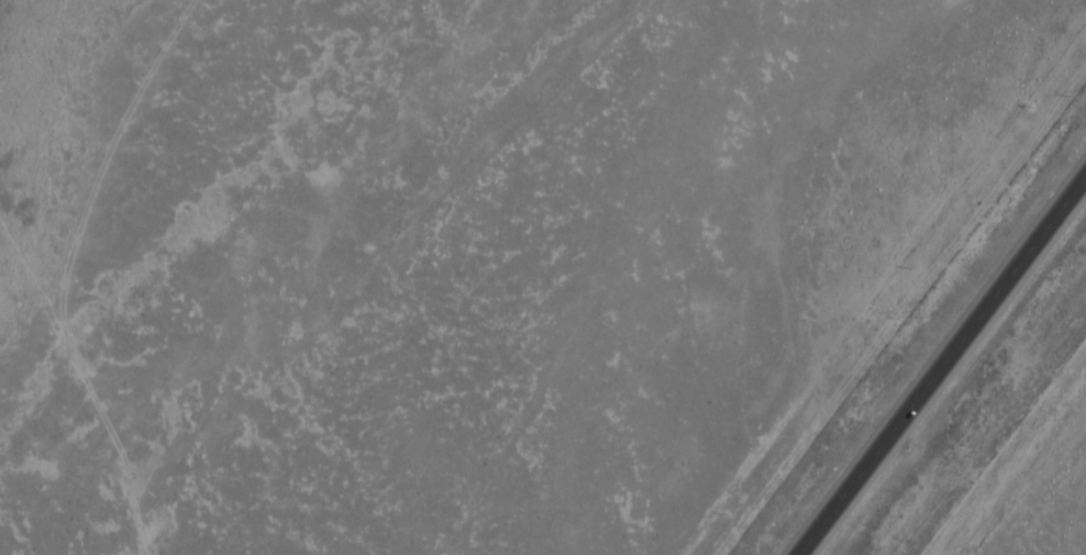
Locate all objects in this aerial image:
road: (398, 276)
road: (941, 364)

